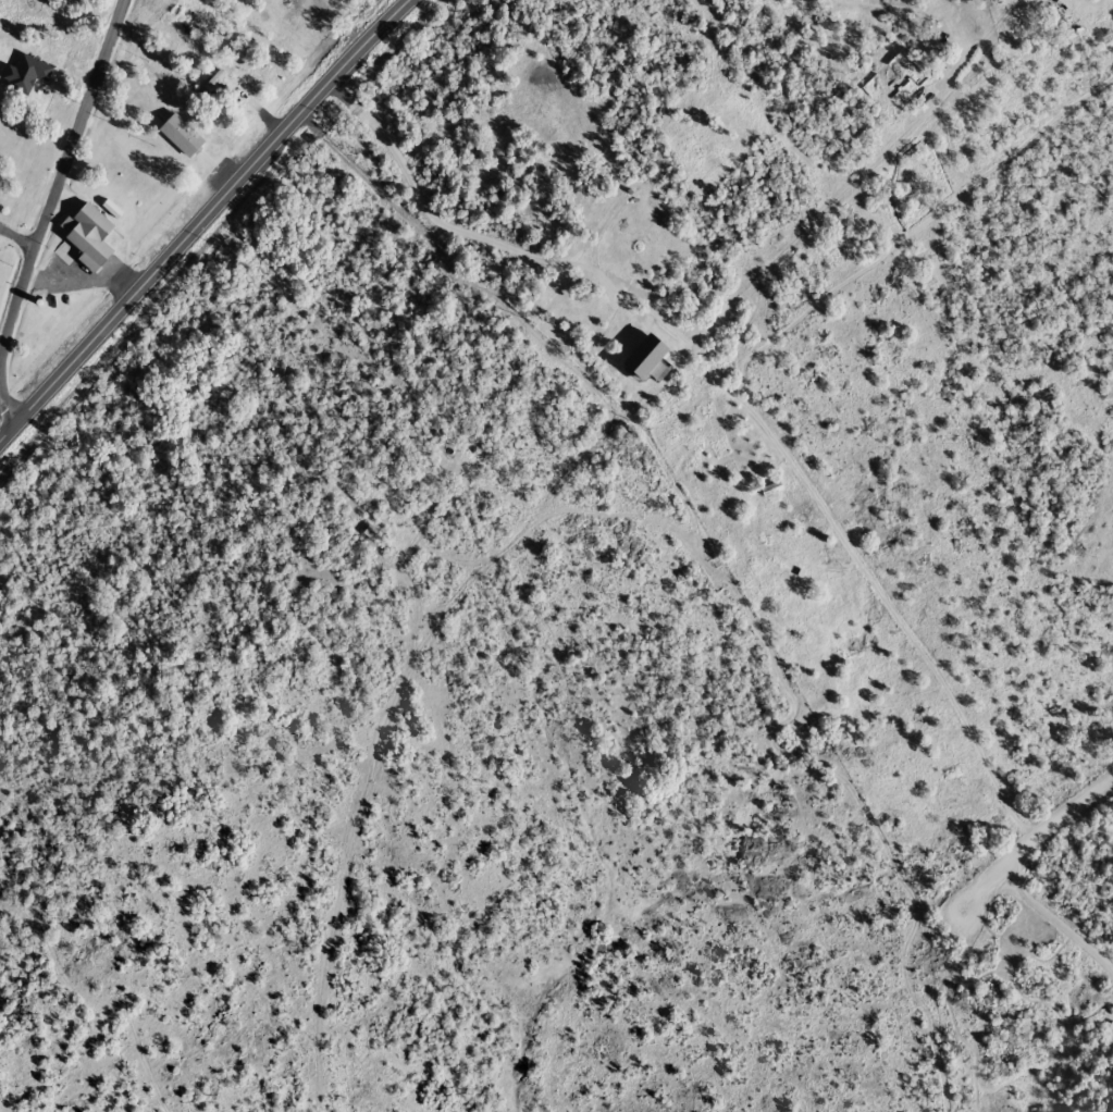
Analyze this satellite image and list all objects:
building: (27, 74)
building: (212, 87)
building: (182, 136)
road: (55, 166)
road: (420, 202)
road: (199, 215)
building: (626, 220)
building: (89, 235)
road: (14, 236)
road: (741, 390)
road: (7, 407)
road: (610, 507)
building: (371, 533)
road: (1028, 832)
road: (1055, 922)

